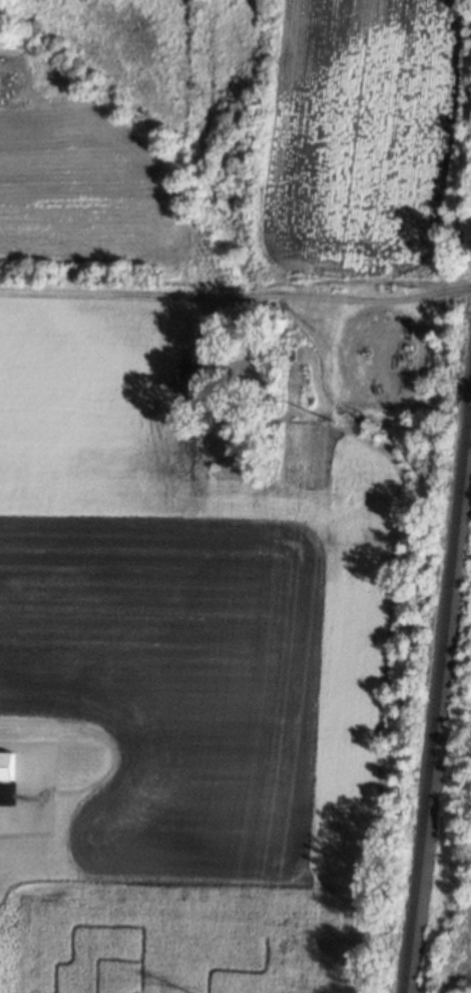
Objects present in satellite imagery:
road: (225, 297)
power tower: (331, 423)
railway: (437, 693)
building: (5, 767)

